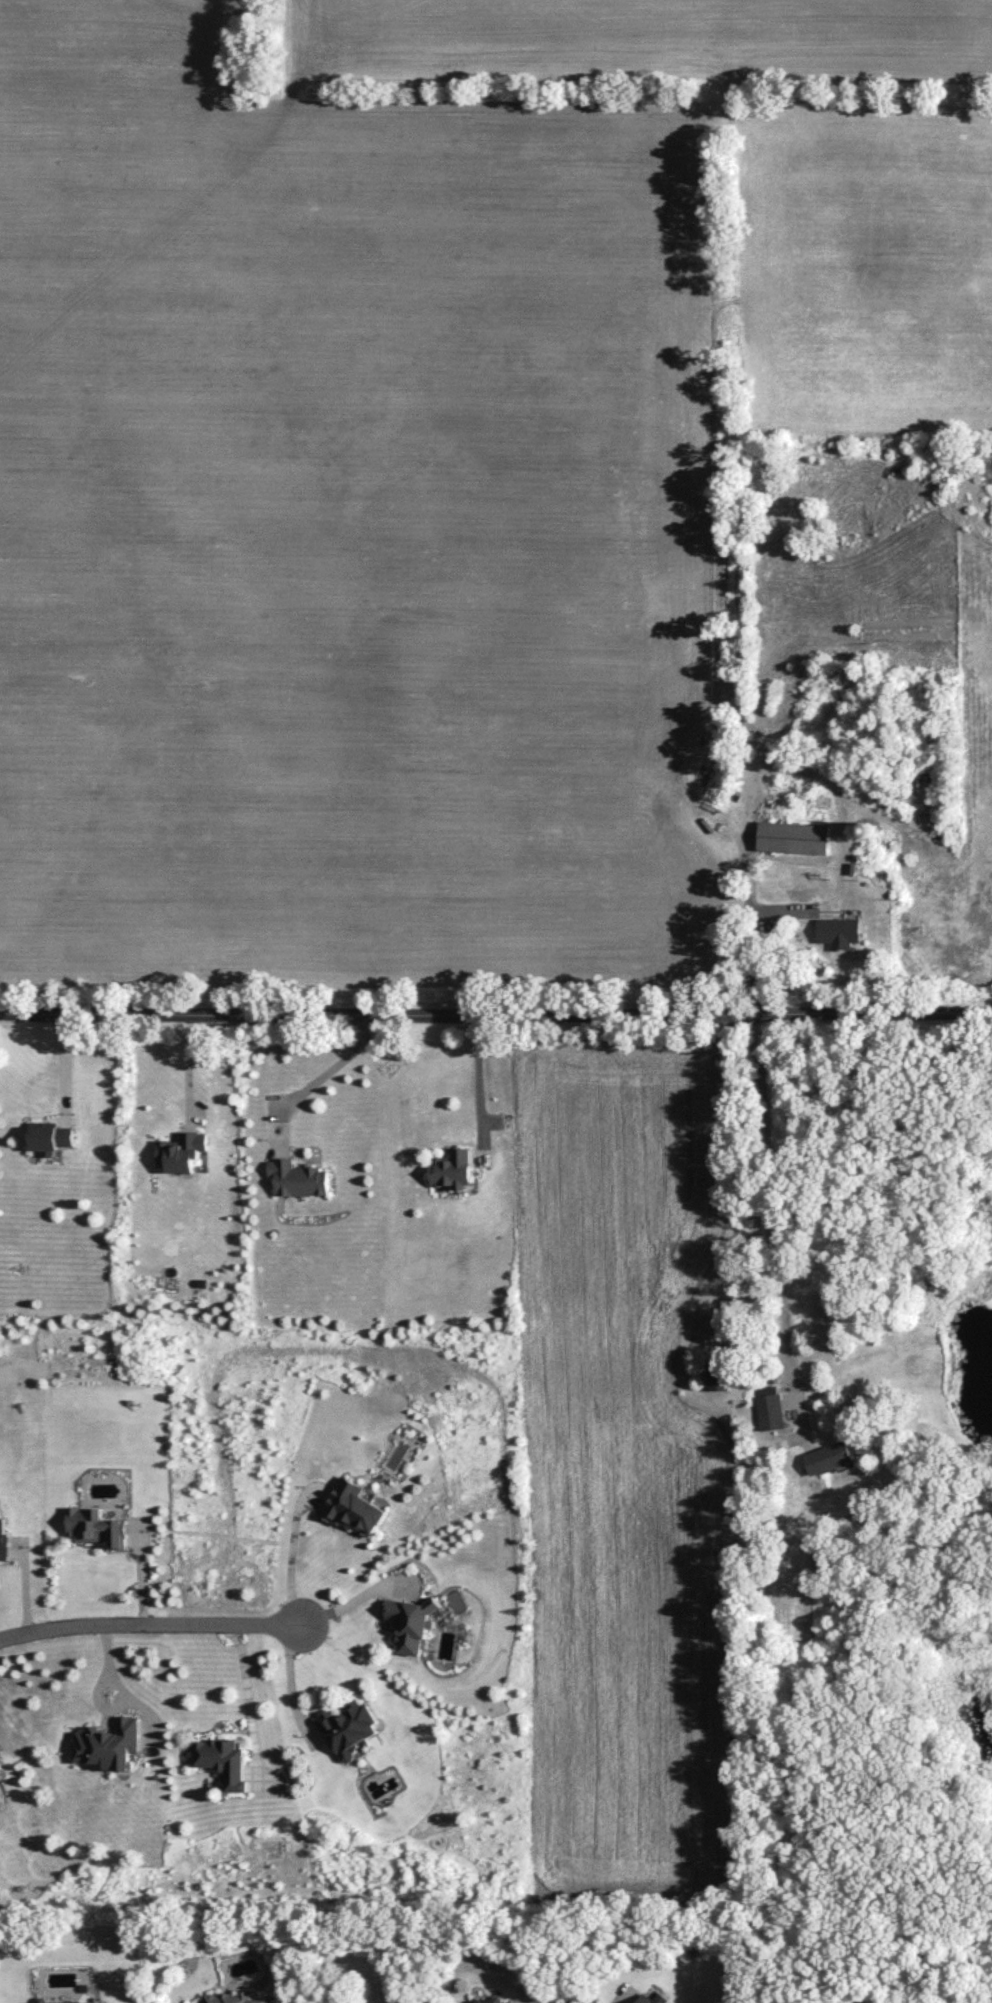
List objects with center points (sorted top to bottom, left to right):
road: (733, 624)
building: (793, 837)
road: (774, 911)
building: (839, 931)
road: (495, 1010)
road: (188, 1066)
road: (488, 1073)
road: (326, 1075)
building: (182, 1151)
building: (453, 1169)
building: (297, 1178)
road: (766, 1200)
building: (718, 1374)
building: (770, 1411)
building: (829, 1457)
building: (354, 1507)
building: (94, 1526)
building: (3, 1539)
road: (300, 1556)
road: (361, 1600)
building: (413, 1622)
road: (150, 1626)
road: (301, 1682)
road: (119, 1690)
road: (256, 1695)
building: (350, 1730)
building: (108, 1744)
building: (223, 1760)
building: (0, 1767)
building: (229, 1998)
building: (643, 1999)
building: (493, 2000)
building: (73, 2002)

